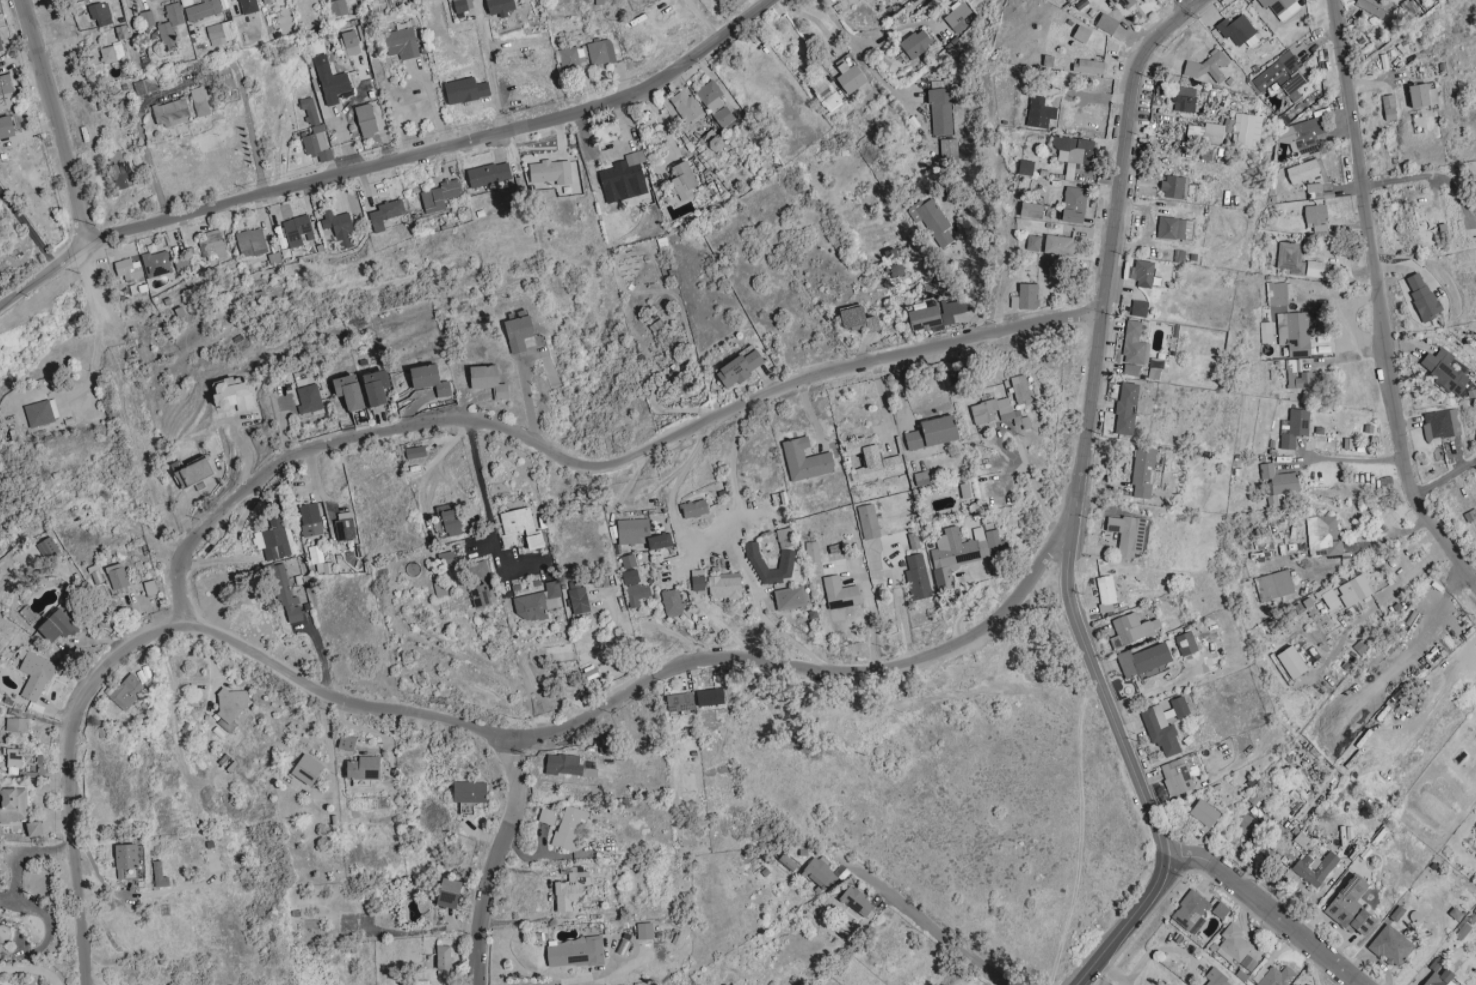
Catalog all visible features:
building: (265, 2)
building: (384, 2)
road: (1191, 2)
building: (1124, 3)
building: (248, 6)
building: (1373, 6)
building: (338, 7)
building: (460, 7)
building: (500, 7)
building: (1281, 7)
building: (203, 10)
building: (101, 14)
building: (958, 17)
building: (147, 19)
building: (1107, 23)
building: (170, 25)
building: (1237, 30)
building: (220, 33)
building: (1082, 34)
building: (1117, 35)
building: (402, 40)
building: (351, 43)
building: (916, 43)
building: (0, 48)
building: (600, 52)
building: (111, 53)
road: (860, 55)
building: (571, 58)
building: (1048, 61)
building: (1089, 66)
building: (1210, 67)
road: (490, 69)
building: (1282, 77)
building: (331, 81)
building: (144, 85)
building: (466, 90)
building: (5, 92)
building: (827, 93)
building: (1422, 95)
building: (710, 96)
building: (1185, 100)
building: (200, 101)
road: (432, 103)
building: (685, 106)
building: (1389, 107)
building: (941, 110)
building: (171, 112)
building: (1040, 112)
building: (723, 116)
road: (53, 120)
building: (366, 120)
building: (7, 127)
building: (1245, 128)
building: (314, 132)
road: (249, 133)
building: (1205, 133)
building: (1301, 134)
building: (948, 149)
road: (145, 150)
building: (1072, 152)
building: (115, 156)
road: (382, 160)
building: (1026, 168)
building: (549, 172)
building: (619, 172)
building: (1303, 172)
building: (121, 175)
road: (1429, 175)
building: (684, 180)
building: (1174, 187)
building: (1314, 190)
building: (440, 195)
building: (1074, 205)
building: (1032, 211)
building: (386, 214)
building: (1316, 218)
building: (932, 220)
road: (27, 228)
building: (339, 228)
building: (1172, 228)
building: (296, 232)
building: (251, 242)
building: (1033, 243)
building: (1059, 245)
building: (211, 246)
road: (996, 252)
building: (1291, 257)
building: (156, 263)
building: (1315, 268)
building: (129, 269)
building: (1144, 273)
building: (1278, 293)
building: (1422, 295)
building: (1025, 296)
road: (1376, 302)
building: (1139, 307)
building: (935, 313)
building: (859, 318)
building: (657, 326)
road: (98, 327)
building: (519, 331)
building: (1294, 332)
building: (1135, 343)
building: (741, 367)
building: (1131, 368)
building: (1444, 369)
building: (962, 374)
building: (431, 378)
building: (1304, 379)
building: (489, 380)
building: (377, 386)
building: (1027, 388)
building: (350, 390)
building: (234, 392)
building: (308, 398)
road: (527, 401)
building: (1127, 408)
building: (998, 409)
building: (39, 413)
building: (1440, 425)
building: (1296, 426)
building: (938, 431)
building: (415, 451)
building: (878, 457)
building: (810, 459)
road: (1353, 459)
road: (624, 466)
building: (194, 471)
building: (1145, 471)
building: (927, 476)
road: (1442, 478)
building: (1278, 482)
road: (1080, 496)
building: (699, 507)
road: (488, 515)
building: (452, 517)
building: (310, 519)
building: (874, 520)
building: (526, 527)
building: (345, 528)
road: (710, 529)
building: (638, 530)
building: (789, 532)
building: (1128, 533)
building: (1320, 534)
building: (272, 540)
building: (665, 540)
building: (48, 548)
building: (818, 550)
building: (961, 552)
building: (452, 559)
building: (634, 560)
building: (791, 562)
building: (117, 575)
building: (922, 576)
building: (703, 580)
building: (1274, 584)
building: (730, 585)
building: (640, 587)
building: (1355, 590)
building: (845, 592)
building: (1106, 592)
building: (484, 595)
road: (183, 596)
building: (287, 596)
building: (795, 596)
building: (1329, 596)
building: (584, 599)
building: (541, 601)
building: (677, 602)
road: (758, 613)
building: (57, 625)
building: (1135, 626)
building: (1109, 629)
road: (1417, 641)
building: (1186, 643)
road: (320, 654)
building: (1144, 660)
building: (1293, 662)
building: (36, 675)
building: (126, 691)
building: (711, 696)
building: (680, 701)
building: (231, 702)
building: (1180, 706)
building: (16, 724)
building: (1161, 727)
road: (365, 728)
road: (487, 735)
building: (347, 742)
building: (605, 742)
road: (327, 744)
building: (14, 758)
building: (567, 765)
building: (365, 767)
building: (308, 769)
building: (1177, 776)
building: (470, 791)
building: (14, 804)
building: (1206, 812)
building: (547, 815)
building: (1248, 824)
building: (568, 827)
building: (35, 828)
road: (25, 852)
building: (127, 860)
road: (494, 862)
building: (788, 862)
building: (1316, 867)
building: (157, 871)
building: (819, 873)
building: (571, 888)
building: (450, 893)
building: (857, 901)
building: (1353, 907)
road: (1267, 908)
building: (1191, 911)
road: (929, 918)
building: (1, 922)
building: (1466, 926)
building: (645, 930)
building: (1392, 945)
building: (1236, 947)
road: (1158, 950)
building: (0, 951)
building: (575, 952)
building: (443, 956)
road: (31, 969)
building: (1435, 969)
road: (1112, 974)
building: (1277, 977)
building: (1217, 978)
road: (551, 981)
building: (801, 982)
building: (1294, 984)
building: (1307, 984)

